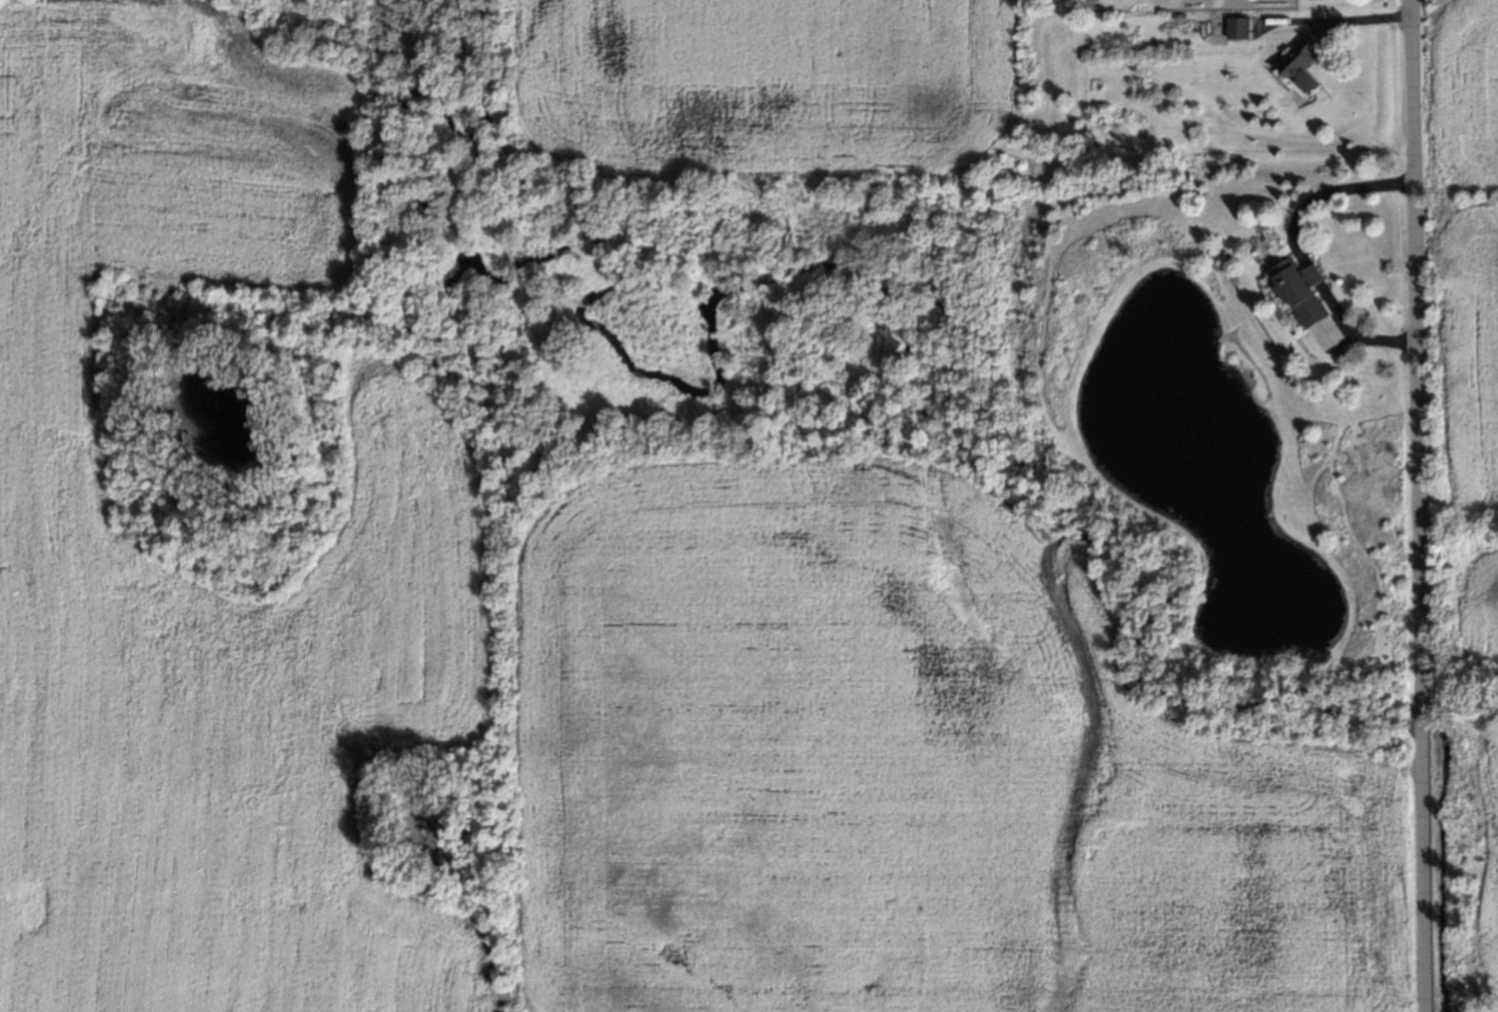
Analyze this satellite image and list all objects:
road: (1355, 18)
building: (1238, 26)
building: (1301, 59)
road: (1322, 199)
road: (1311, 272)
river: (831, 283)
building: (1294, 289)
road: (1351, 333)
building: (1064, 459)
road: (1414, 506)
river: (1416, 724)
river: (1442, 867)

